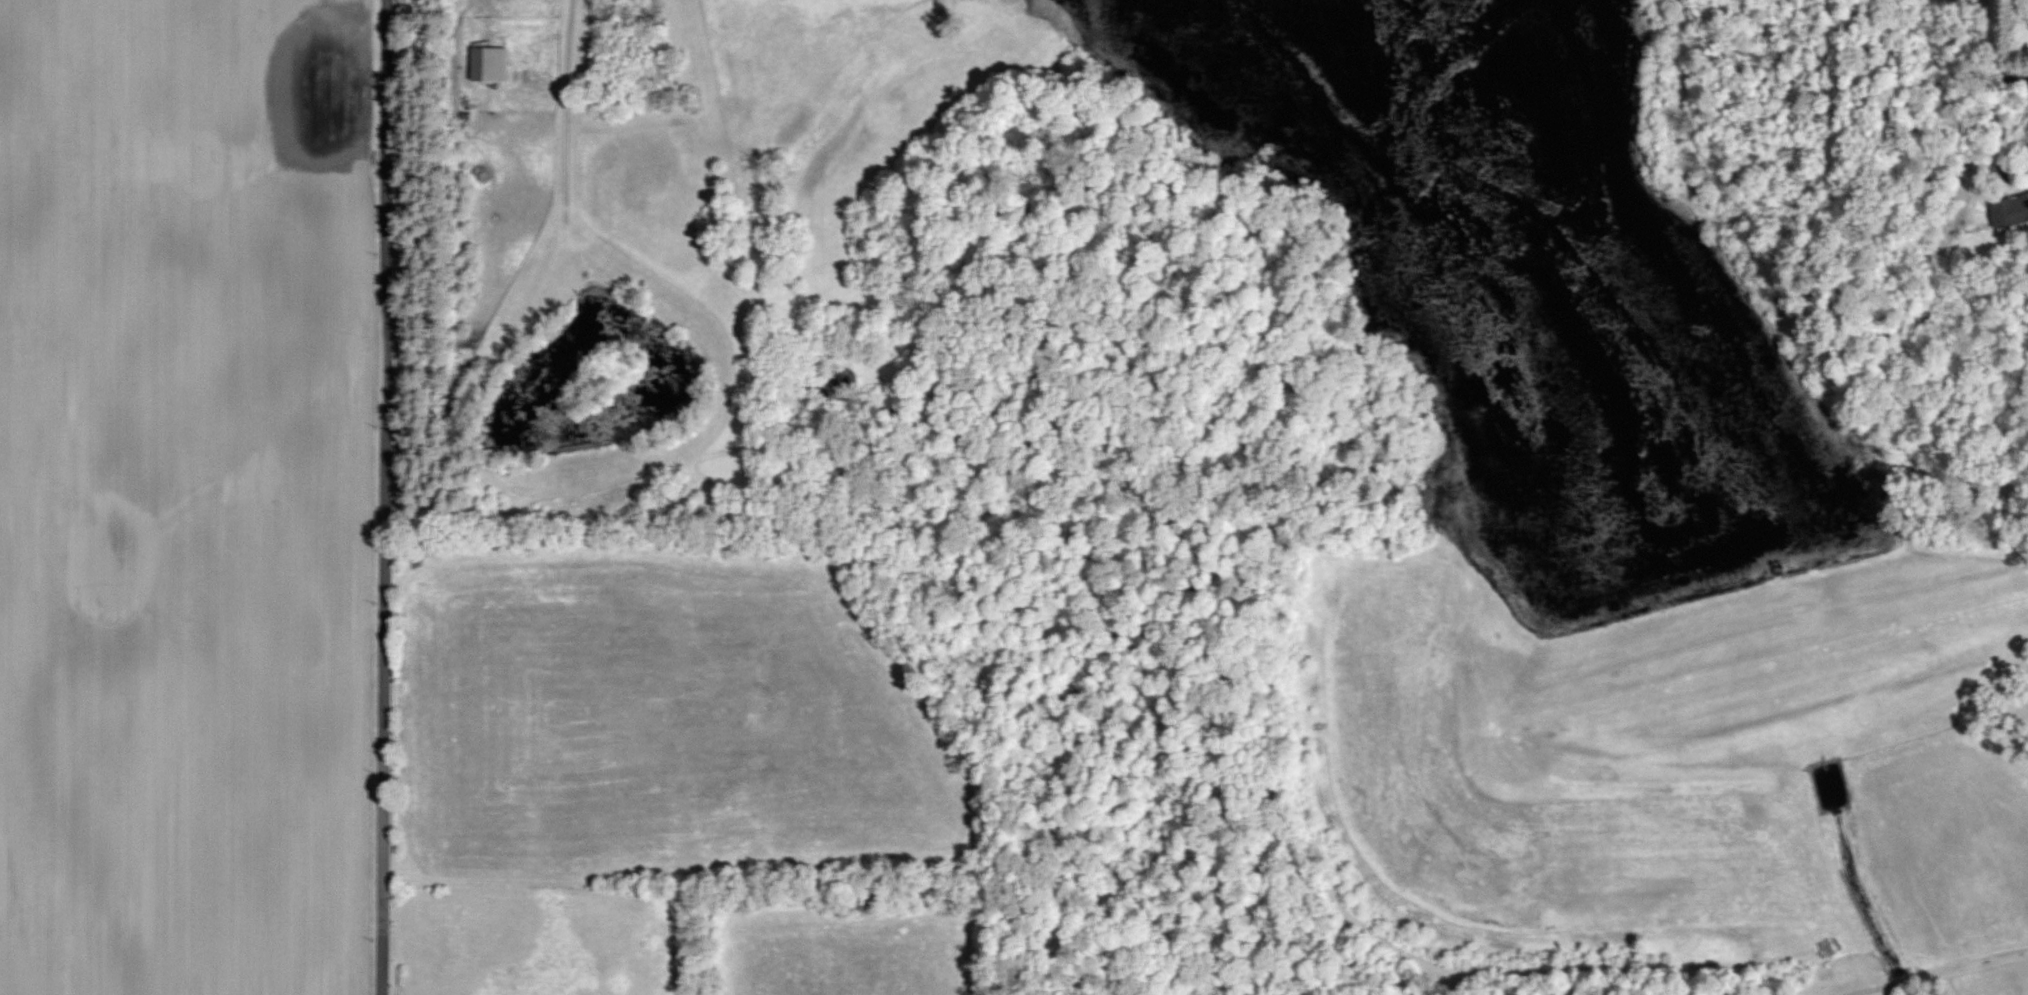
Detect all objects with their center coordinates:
building: (492, 64)
road: (2000, 115)
building: (2011, 212)
road: (385, 497)
road: (1939, 972)

